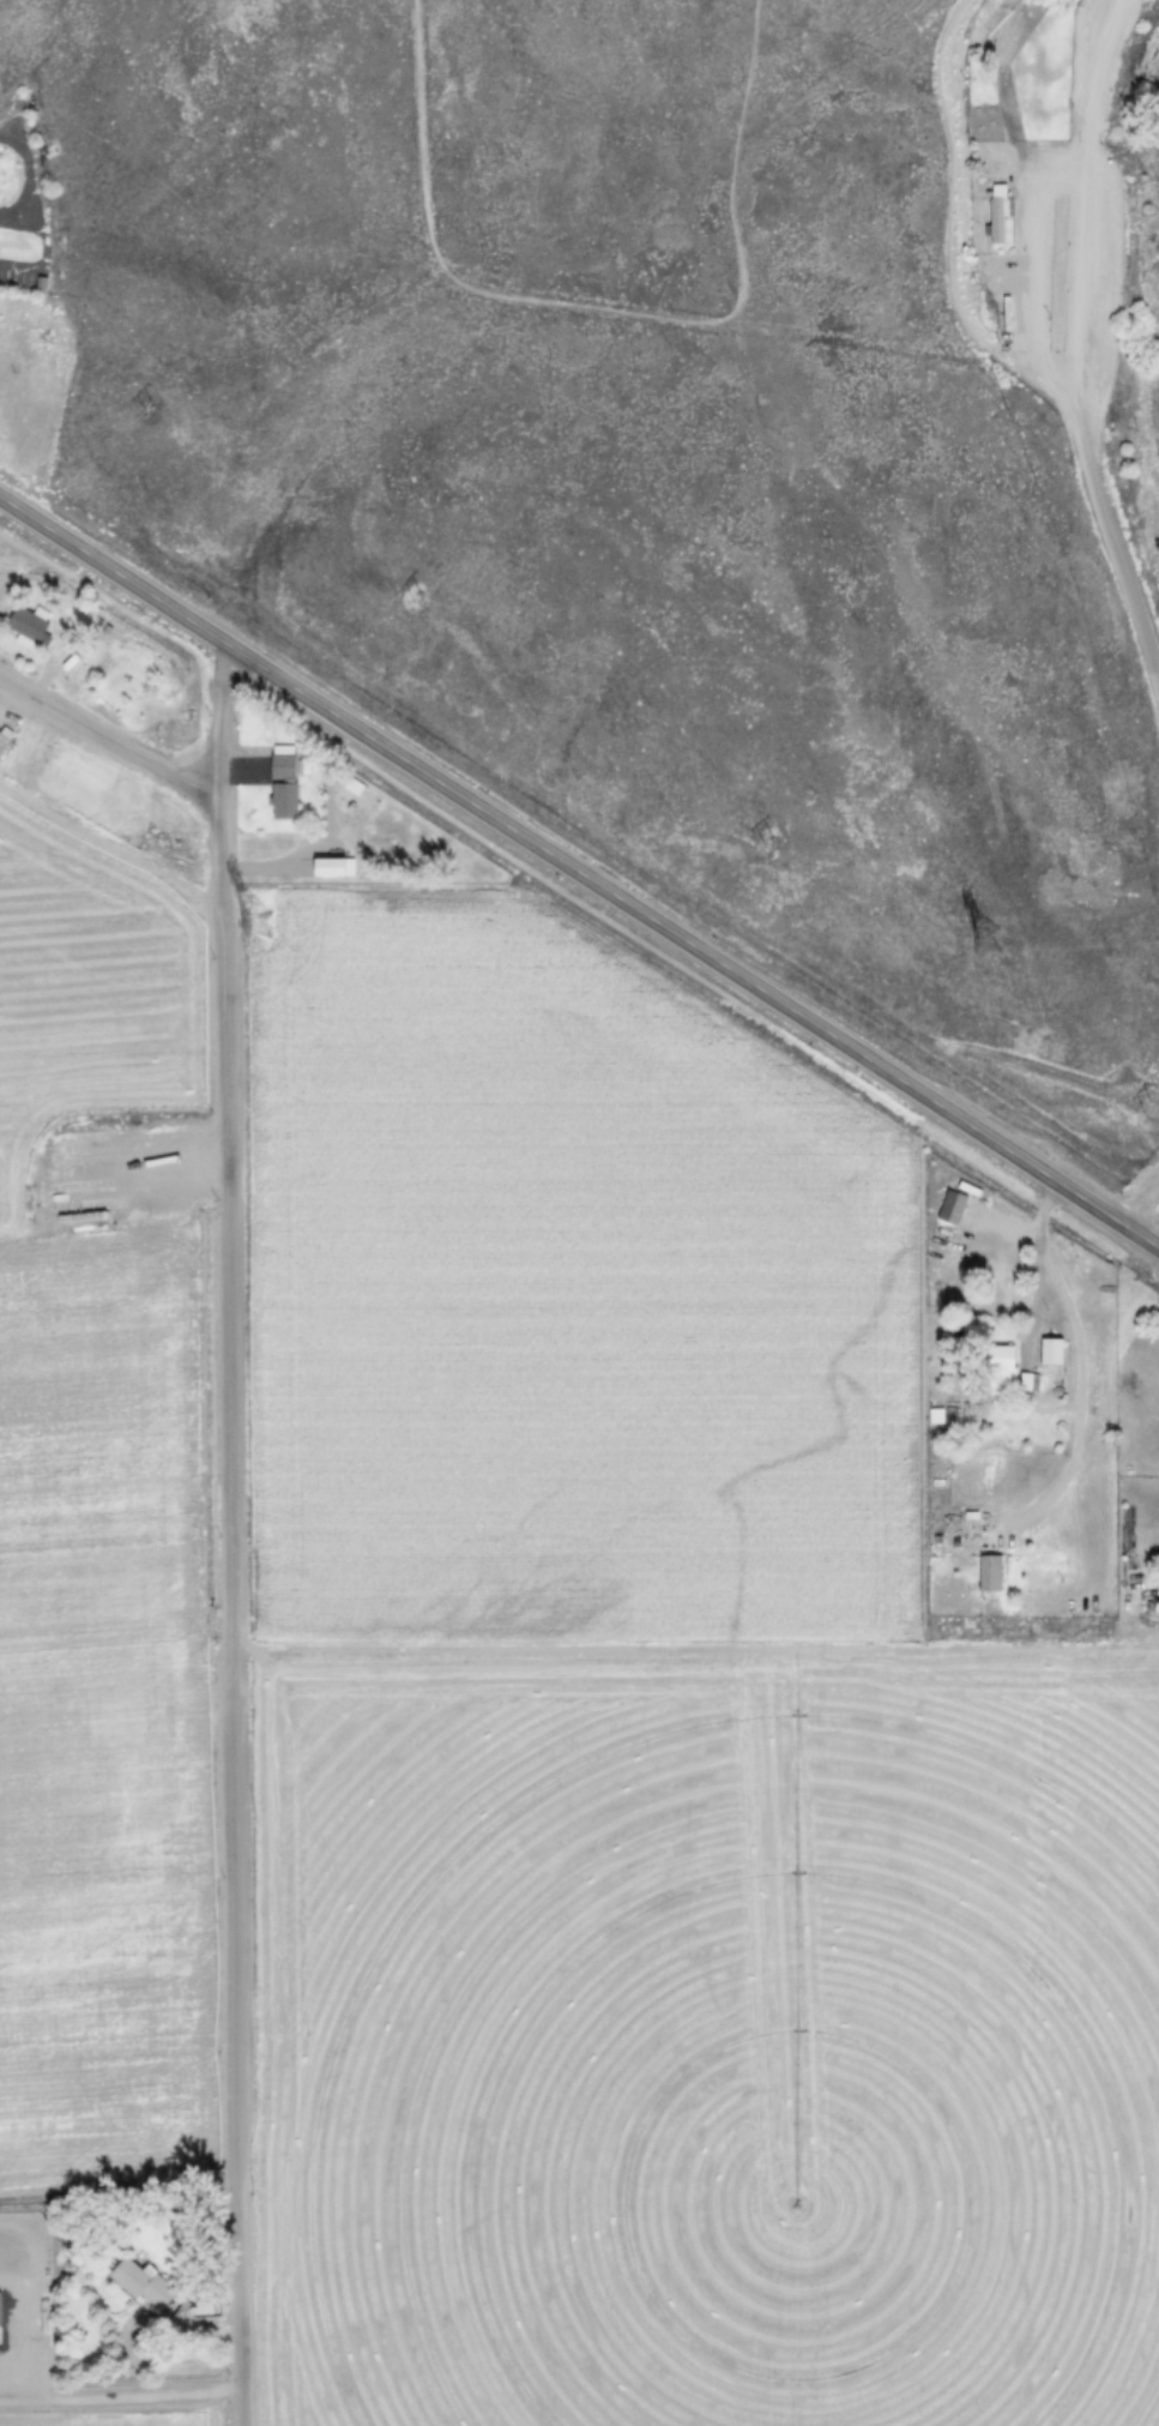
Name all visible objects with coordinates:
road: (18, 175)
building: (997, 210)
road: (1086, 335)
building: (30, 626)
road: (108, 736)
building: (4, 741)
building: (283, 781)
road: (110, 850)
building: (330, 866)
road: (579, 869)
power tower: (259, 923)
power tower: (985, 937)
building: (79, 1182)
road: (1145, 1212)
building: (1052, 1350)
road: (1085, 1362)
building: (1002, 1369)
road: (224, 1534)
building: (991, 1572)
building: (143, 2283)
road: (120, 2394)

